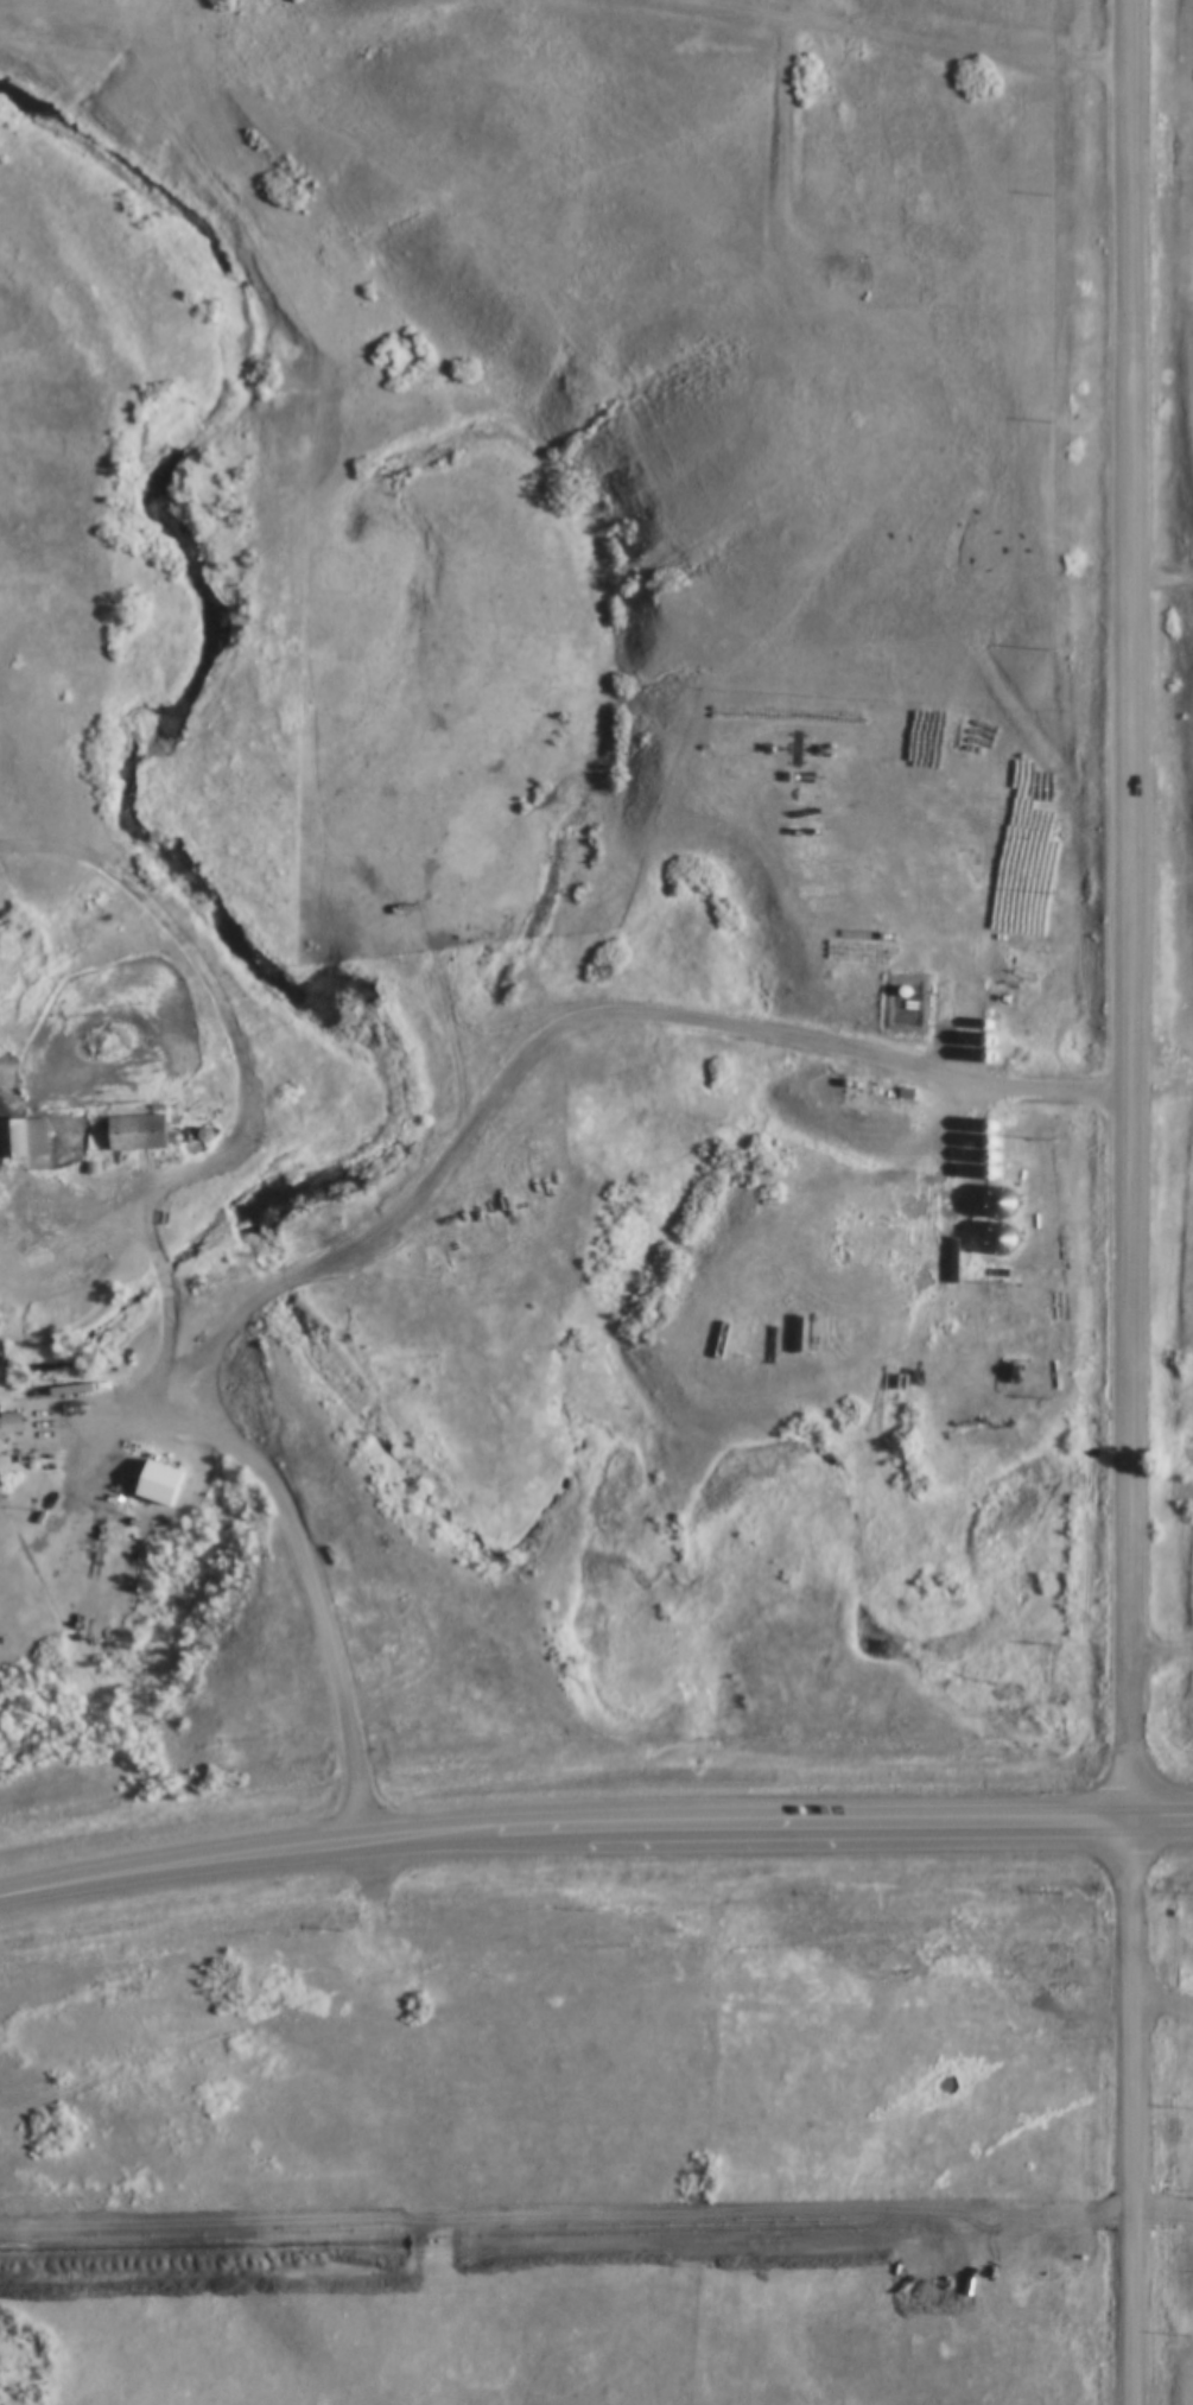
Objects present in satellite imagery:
road: (890, 42)
road: (853, 1051)
building: (135, 1131)
building: (23, 1137)
road: (1127, 1202)
building: (8, 1423)
road: (215, 1446)
building: (159, 1483)
building: (49, 1610)
building: (401, 1744)
road: (594, 1829)

